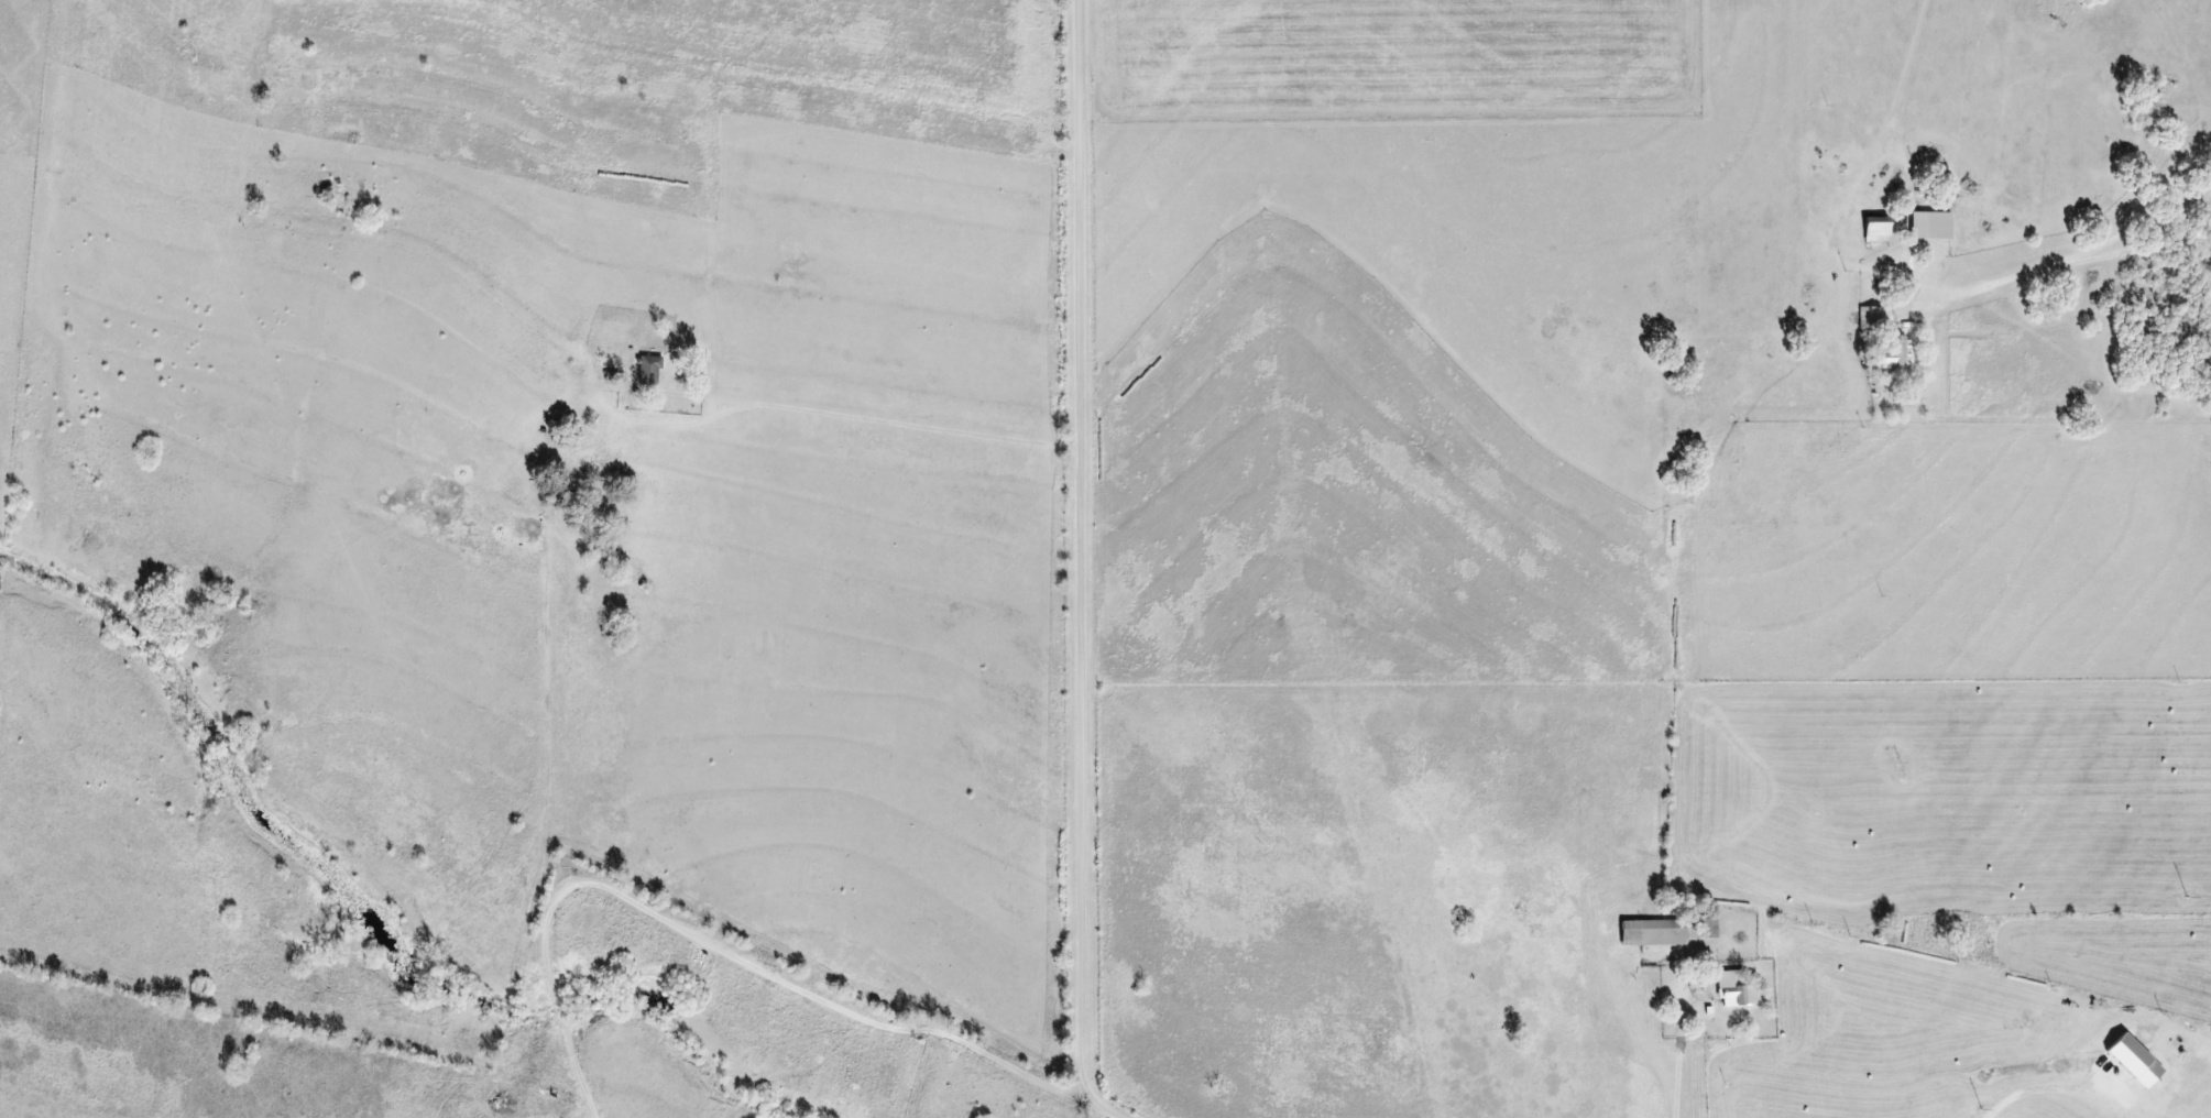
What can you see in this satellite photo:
building: (1930, 226)
building: (1874, 229)
road: (2083, 257)
building: (1869, 317)
building: (1896, 355)
building: (648, 370)
road: (875, 418)
road: (1085, 566)
building: (1707, 928)
building: (1652, 932)
building: (1734, 989)
road: (894, 1030)
road: (1677, 1070)
road: (2003, 1106)

